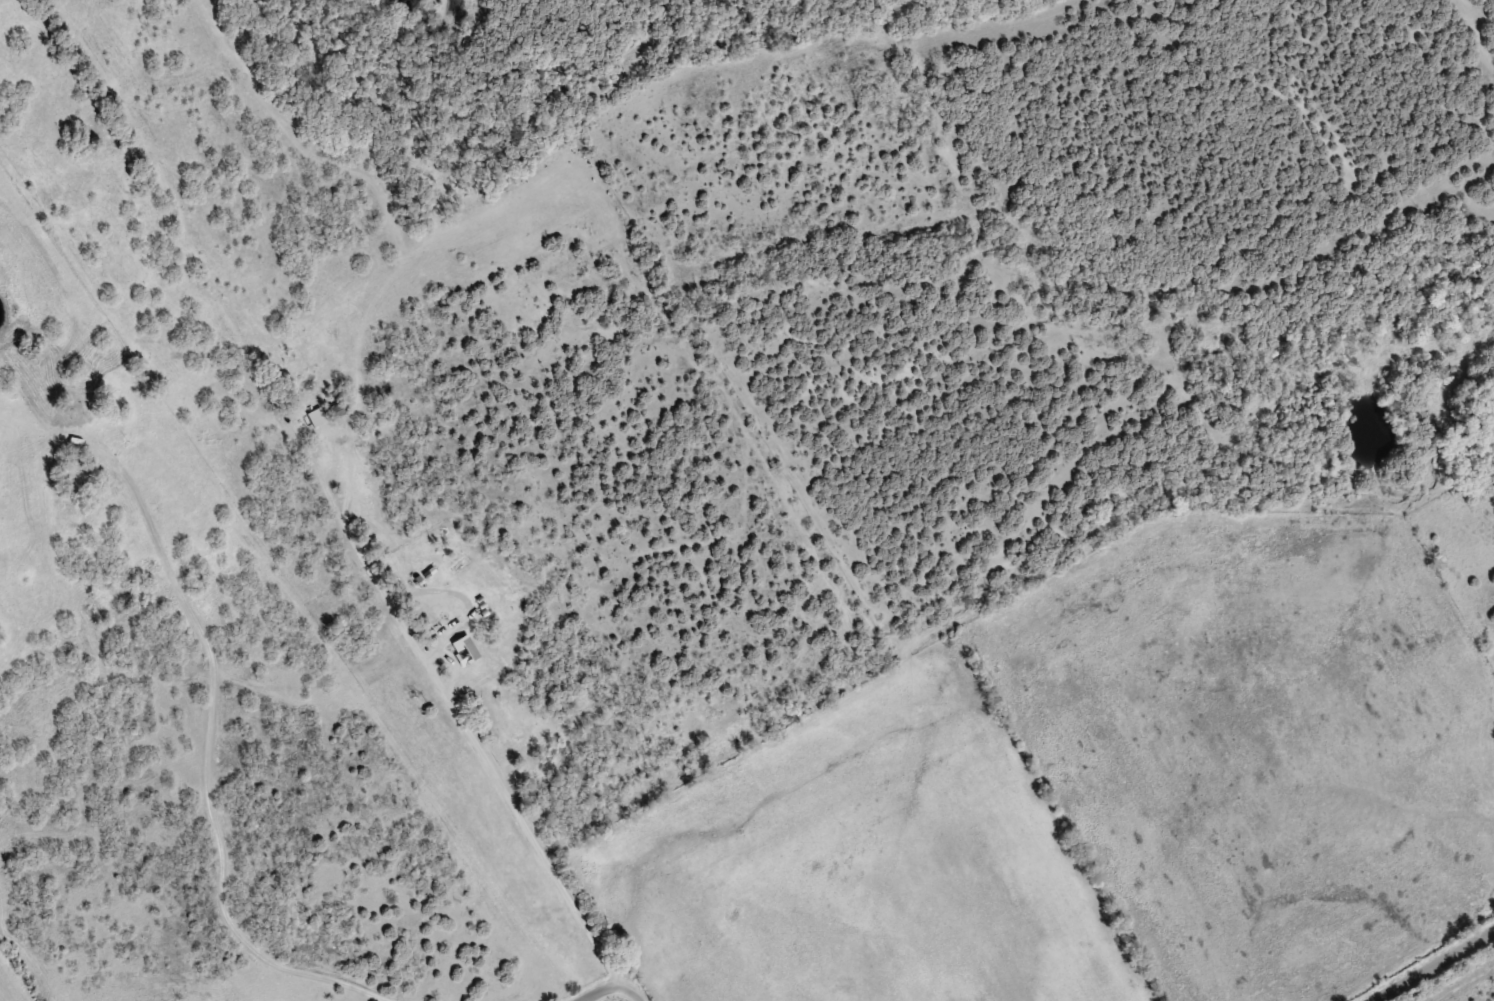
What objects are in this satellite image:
road: (1399, 368)
building: (336, 408)
road: (371, 619)
building: (466, 649)
road: (1427, 963)

